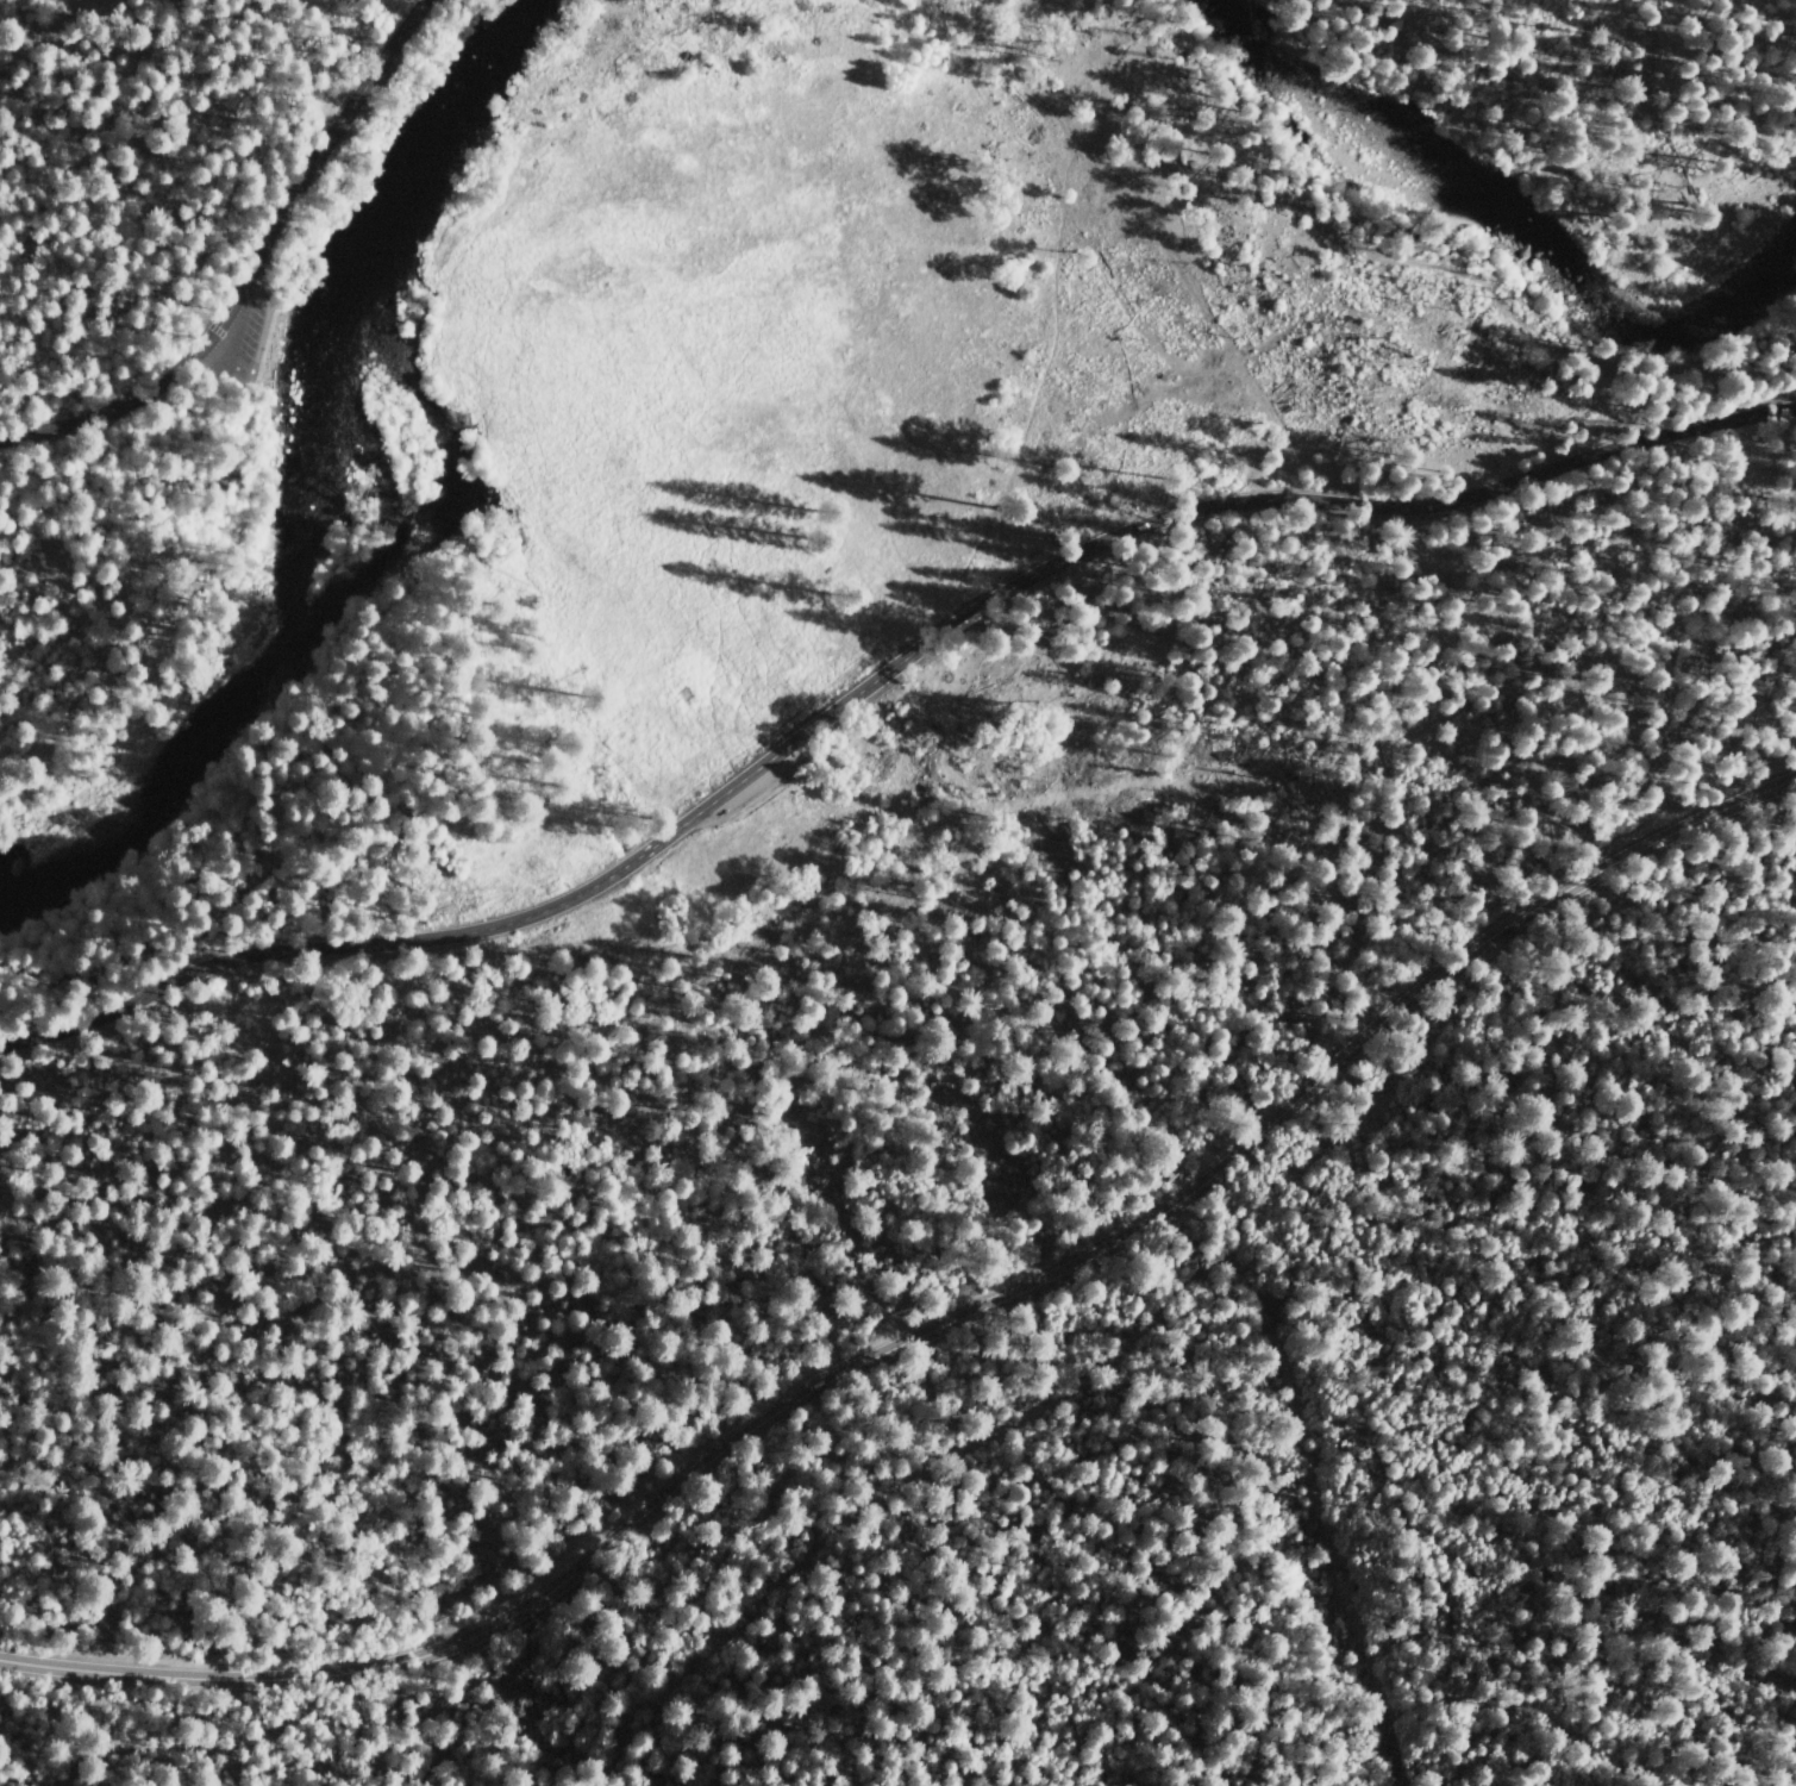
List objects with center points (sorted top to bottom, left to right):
road: (181, 121)
river: (1513, 210)
road: (250, 267)
road: (198, 313)
parking lot: (242, 333)
road: (1713, 424)
river: (309, 498)
road: (1000, 502)
road: (812, 732)
road: (931, 1331)
road: (1058, 1407)

